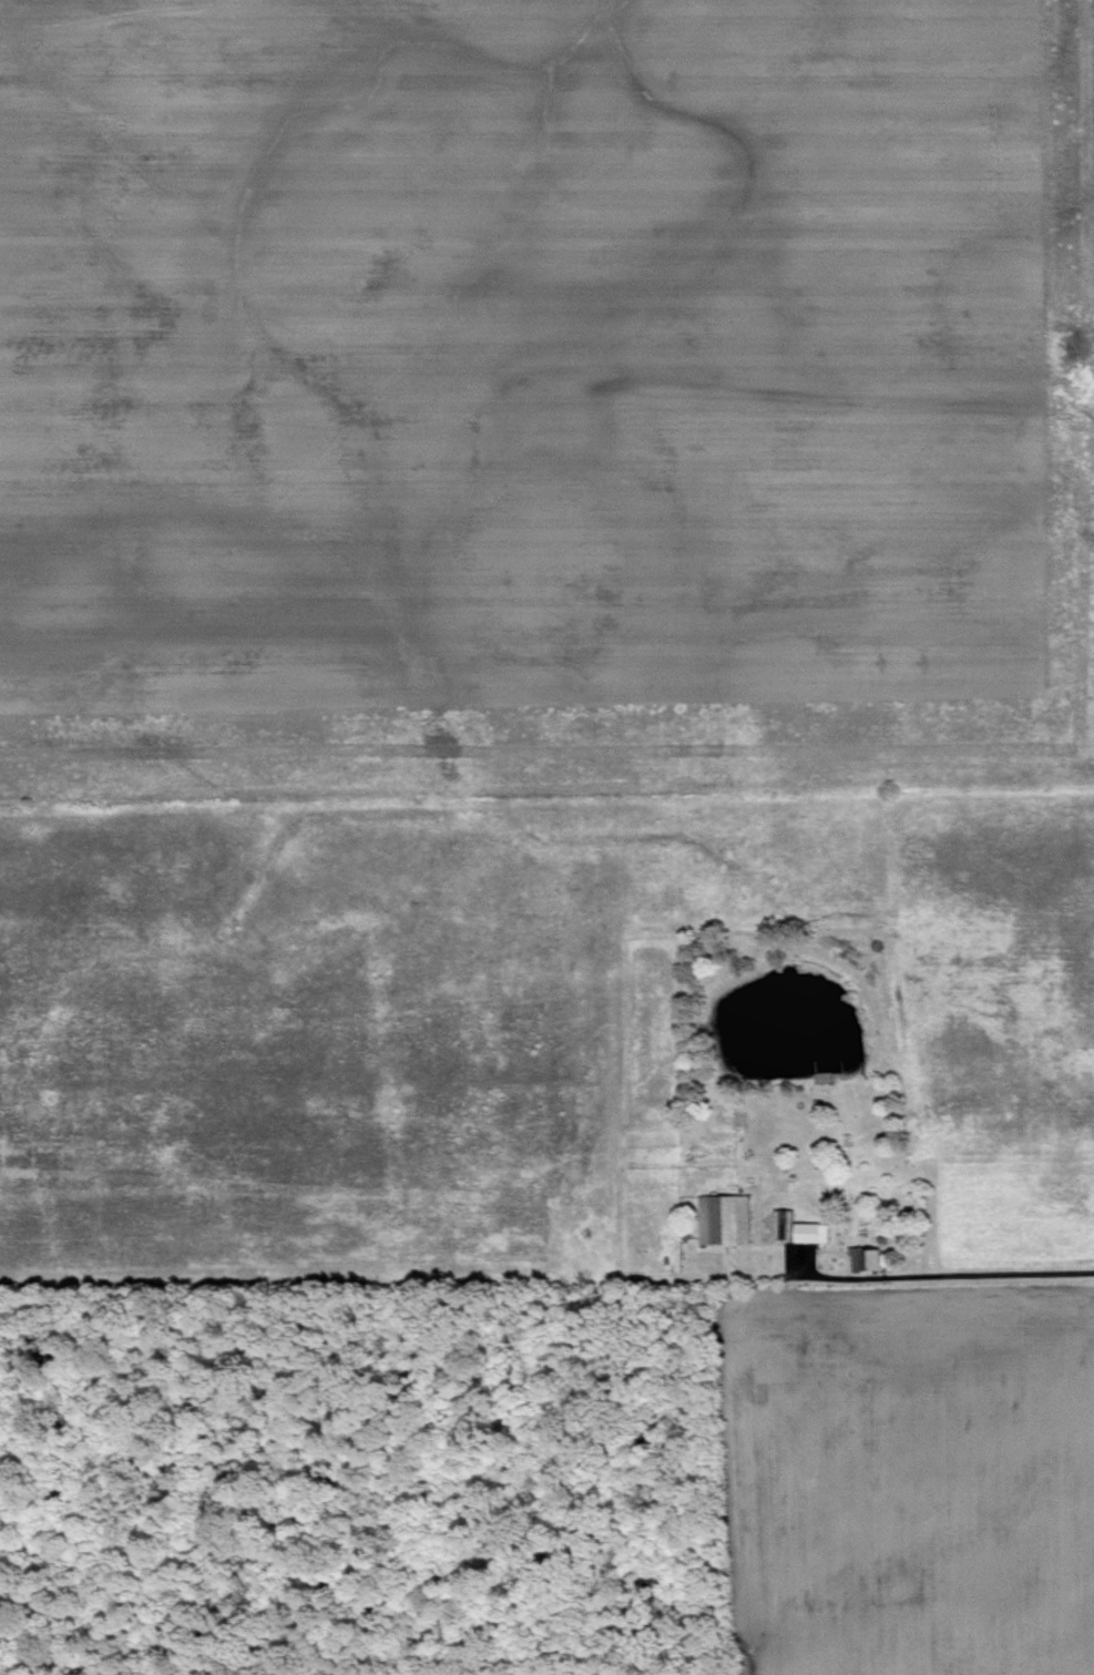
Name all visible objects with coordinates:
building: (723, 1218)
building: (780, 1223)
building: (809, 1230)
road: (948, 1279)

